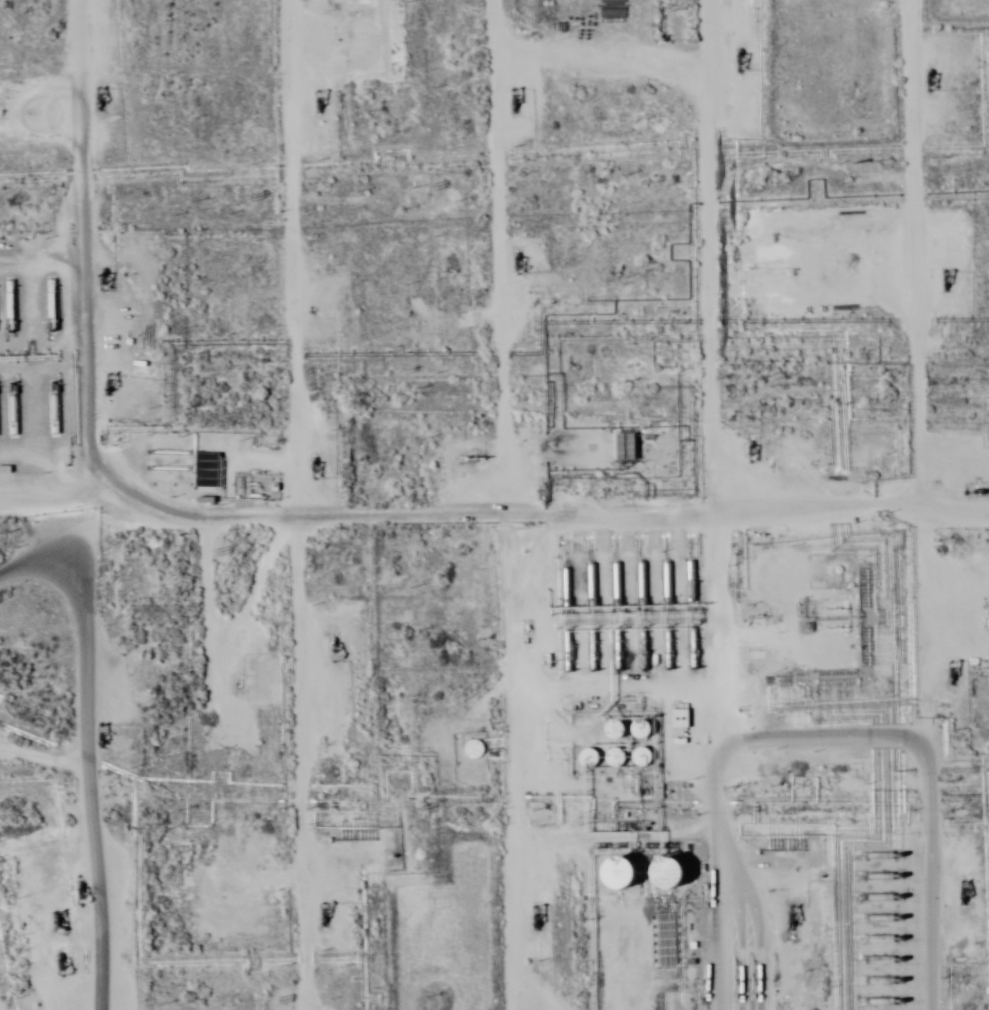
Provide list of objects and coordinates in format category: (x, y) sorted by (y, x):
road: (63, 266)
road: (123, 368)
road: (281, 503)
road: (491, 504)
road: (676, 505)
road: (909, 505)
road: (494, 536)
road: (44, 553)
building: (677, 721)
road: (92, 770)
building: (475, 777)

